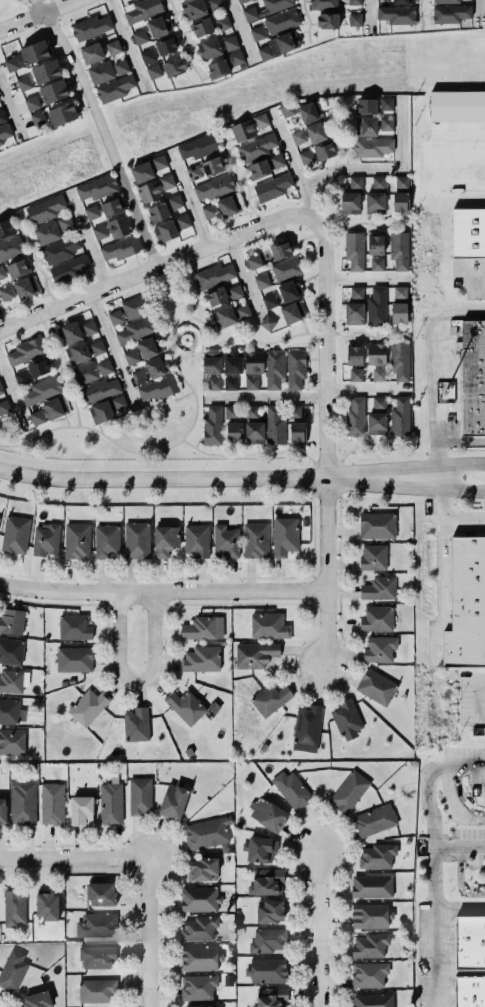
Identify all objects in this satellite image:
building: (240, 1)
building: (444, 1)
building: (354, 2)
building: (403, 2)
building: (214, 4)
building: (323, 5)
building: (263, 8)
building: (141, 9)
building: (193, 9)
building: (449, 12)
road: (477, 12)
building: (395, 13)
road: (419, 14)
road: (367, 15)
road: (38, 16)
building: (280, 19)
building: (326, 19)
building: (354, 19)
road: (308, 20)
building: (222, 23)
building: (89, 26)
building: (159, 26)
building: (202, 28)
road: (239, 31)
building: (257, 33)
building: (139, 36)
building: (285, 40)
building: (228, 41)
road: (184, 42)
road: (126, 45)
building: (166, 45)
building: (207, 46)
building: (113, 47)
building: (34, 52)
building: (265, 52)
building: (91, 53)
building: (147, 56)
building: (11, 64)
building: (222, 65)
building: (121, 67)
building: (175, 67)
building: (44, 69)
building: (99, 71)
building: (153, 71)
building: (22, 82)
building: (113, 87)
building: (53, 91)
building: (32, 103)
building: (386, 103)
building: (365, 106)
building: (457, 106)
building: (287, 109)
building: (61, 112)
building: (310, 112)
road: (9, 113)
building: (2, 117)
building: (37, 118)
building: (261, 120)
building: (386, 123)
building: (365, 125)
road: (101, 128)
building: (242, 130)
building: (317, 131)
building: (4, 133)
building: (298, 137)
building: (371, 145)
building: (255, 146)
building: (197, 147)
building: (325, 151)
building: (306, 157)
building: (277, 161)
building: (159, 162)
road: (333, 162)
road: (290, 163)
building: (205, 169)
building: (259, 169)
building: (139, 170)
road: (385, 170)
road: (238, 181)
building: (166, 182)
building: (378, 182)
building: (401, 182)
building: (356, 183)
building: (271, 185)
building: (213, 186)
building: (97, 188)
building: (149, 192)
road: (186, 199)
building: (373, 201)
building: (399, 201)
building: (174, 202)
building: (349, 203)
building: (229, 205)
building: (111, 208)
building: (44, 209)
building: (209, 210)
building: (156, 211)
building: (91, 212)
building: (182, 221)
building: (65, 223)
road: (364, 224)
building: (119, 227)
building: (6, 228)
building: (163, 230)
building: (44, 231)
building: (99, 232)
building: (467, 232)
road: (85, 239)
building: (373, 243)
building: (119, 247)
building: (10, 248)
building: (60, 250)
building: (281, 250)
building: (354, 250)
building: (399, 250)
building: (254, 261)
road: (34, 264)
building: (377, 264)
road: (154, 266)
building: (285, 267)
building: (17, 269)
building: (68, 269)
building: (2, 272)
road: (242, 275)
road: (474, 275)
road: (365, 279)
building: (261, 281)
building: (25, 287)
building: (290, 290)
building: (233, 291)
building: (6, 292)
building: (214, 294)
building: (269, 301)
building: (399, 304)
building: (353, 305)
building: (374, 306)
building: (126, 309)
building: (243, 312)
building: (292, 312)
building: (221, 315)
road: (181, 322)
building: (267, 322)
road: (180, 326)
road: (1, 327)
building: (89, 328)
building: (133, 328)
road: (184, 330)
building: (67, 332)
road: (293, 335)
building: (97, 347)
building: (149, 347)
road: (111, 349)
building: (24, 350)
building: (77, 353)
building: (353, 354)
building: (376, 354)
building: (131, 357)
building: (398, 359)
building: (232, 362)
building: (254, 362)
building: (211, 363)
building: (155, 365)
road: (428, 365)
building: (104, 367)
building: (38, 368)
road: (59, 369)
building: (274, 369)
building: (295, 369)
building: (83, 371)
building: (378, 374)
building: (355, 375)
building: (472, 376)
building: (139, 377)
building: (21, 378)
building: (214, 383)
building: (230, 383)
building: (251, 383)
road: (365, 388)
building: (0, 389)
building: (157, 389)
building: (42, 390)
building: (99, 390)
road: (193, 393)
road: (13, 397)
road: (263, 399)
building: (118, 402)
building: (4, 407)
building: (55, 408)
building: (100, 412)
building: (231, 412)
building: (251, 412)
building: (294, 412)
building: (375, 415)
building: (37, 417)
building: (400, 417)
building: (355, 418)
building: (272, 424)
building: (212, 426)
building: (252, 431)
building: (234, 432)
building: (297, 432)
road: (325, 438)
road: (460, 438)
road: (359, 445)
road: (164, 449)
road: (426, 468)
road: (183, 478)
road: (426, 488)
road: (453, 514)
building: (377, 525)
building: (13, 532)
building: (284, 536)
building: (44, 539)
building: (104, 539)
building: (135, 539)
building: (164, 539)
building: (196, 540)
building: (255, 540)
building: (76, 541)
building: (225, 542)
building: (373, 557)
building: (377, 588)
road: (160, 590)
building: (465, 603)
building: (375, 617)
building: (12, 621)
building: (267, 625)
building: (73, 626)
building: (202, 627)
building: (379, 649)
building: (11, 651)
building: (253, 653)
building: (200, 658)
building: (74, 659)
building: (11, 681)
road: (132, 684)
building: (376, 687)
road: (480, 698)
building: (271, 699)
building: (185, 706)
building: (88, 707)
building: (11, 712)
building: (346, 719)
building: (135, 723)
building: (305, 727)
building: (11, 742)
building: (289, 788)
building: (482, 789)
building: (347, 790)
building: (484, 795)
building: (140, 796)
road: (458, 798)
building: (21, 802)
building: (110, 802)
building: (173, 802)
building: (52, 803)
road: (448, 808)
building: (81, 810)
building: (2, 811)
building: (267, 814)
building: (374, 820)
building: (205, 832)
road: (458, 847)
building: (260, 849)
road: (72, 855)
building: (376, 855)
road: (432, 858)
building: (203, 869)
building: (265, 880)
road: (458, 881)
building: (372, 886)
building: (99, 893)
building: (198, 898)
building: (46, 906)
building: (14, 909)
road: (458, 909)
building: (270, 910)
building: (369, 914)
road: (317, 924)
building: (97, 925)
building: (199, 928)
road: (145, 931)
building: (268, 940)
building: (469, 943)
building: (370, 945)
building: (97, 957)
building: (200, 958)
building: (265, 969)
building: (12, 970)
building: (367, 973)
road: (442, 981)
building: (198, 987)
building: (96, 991)
building: (469, 991)
building: (271, 997)
building: (36, 1000)
building: (373, 1000)
building: (202, 1005)

